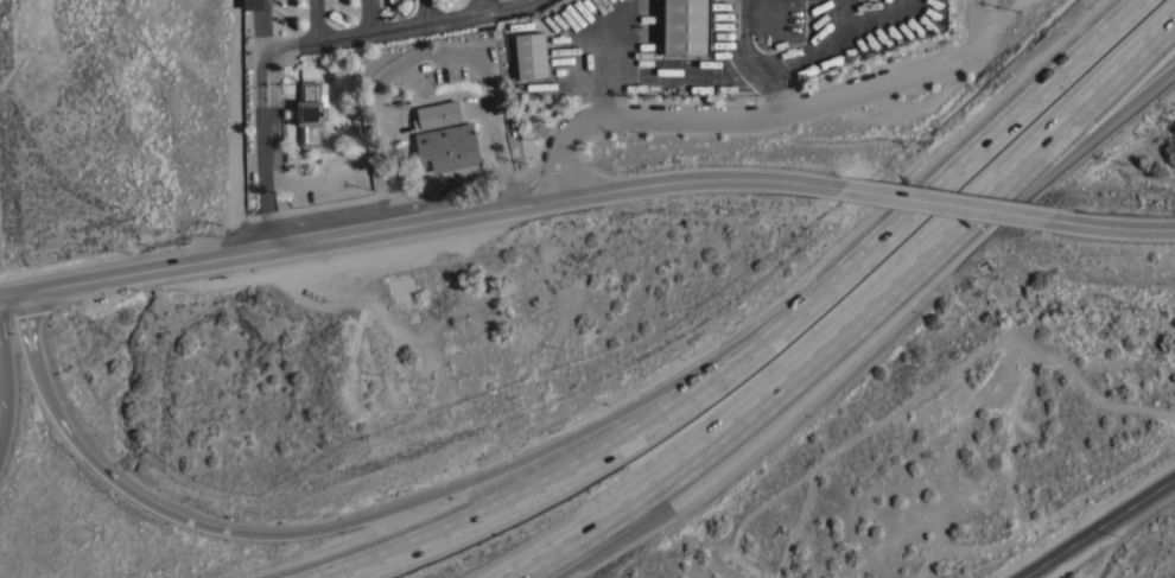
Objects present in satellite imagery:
road: (1014, 2)
road: (485, 9)
road: (433, 13)
road: (376, 18)
road: (977, 20)
road: (320, 21)
road: (995, 23)
building: (686, 27)
road: (401, 32)
building: (532, 53)
road: (743, 107)
building: (310, 110)
building: (437, 113)
road: (1084, 113)
road: (262, 117)
road: (235, 122)
road: (1084, 129)
building: (447, 146)
road: (963, 160)
road: (945, 190)
road: (419, 210)
road: (1111, 211)
road: (11, 381)
road: (763, 402)
road: (569, 471)
road: (354, 523)
road: (1099, 528)

